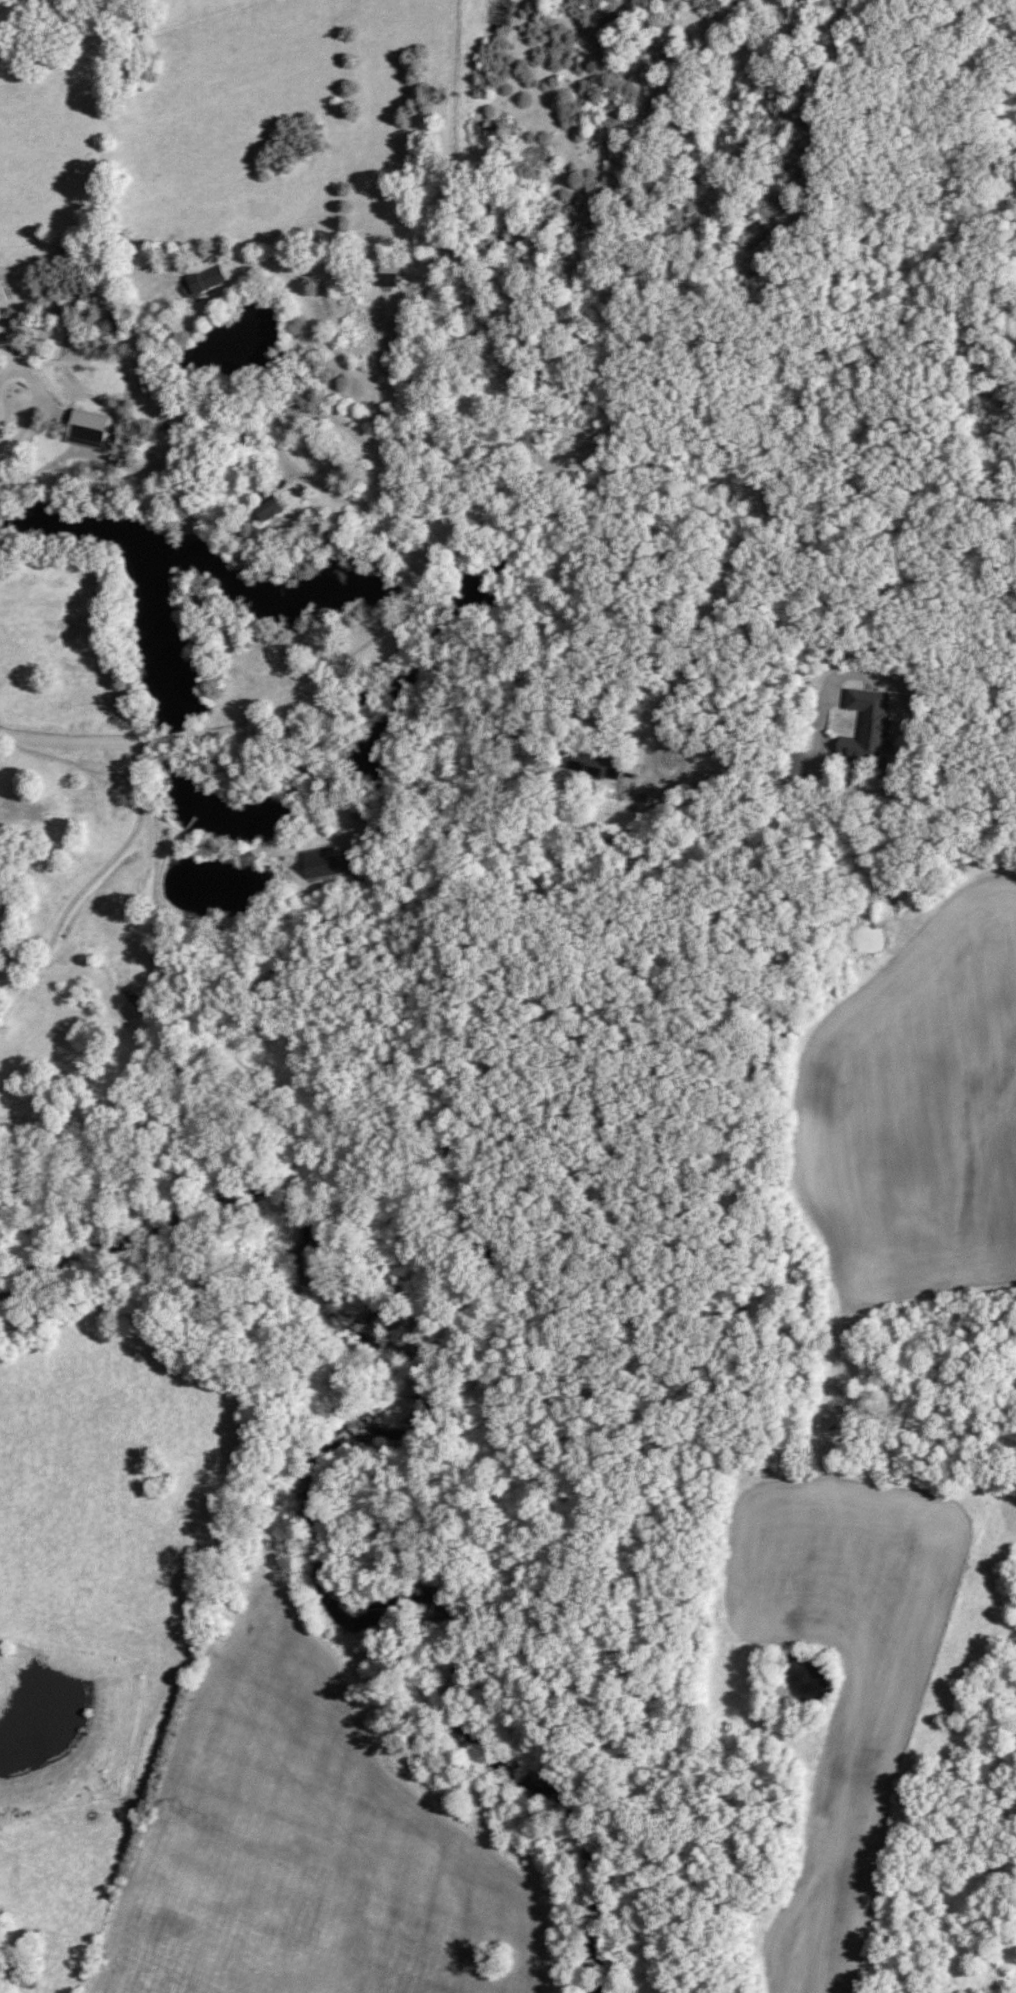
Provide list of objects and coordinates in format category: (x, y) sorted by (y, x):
building: (203, 282)
building: (391, 282)
road: (389, 334)
road: (6, 354)
road: (340, 364)
road: (27, 418)
building: (90, 430)
road: (278, 446)
road: (2, 473)
road: (692, 480)
building: (271, 505)
road: (400, 621)
road: (693, 636)
road: (905, 709)
road: (987, 711)
building: (870, 728)
road: (162, 743)
road: (814, 752)
building: (595, 765)
road: (332, 773)
building: (330, 863)

